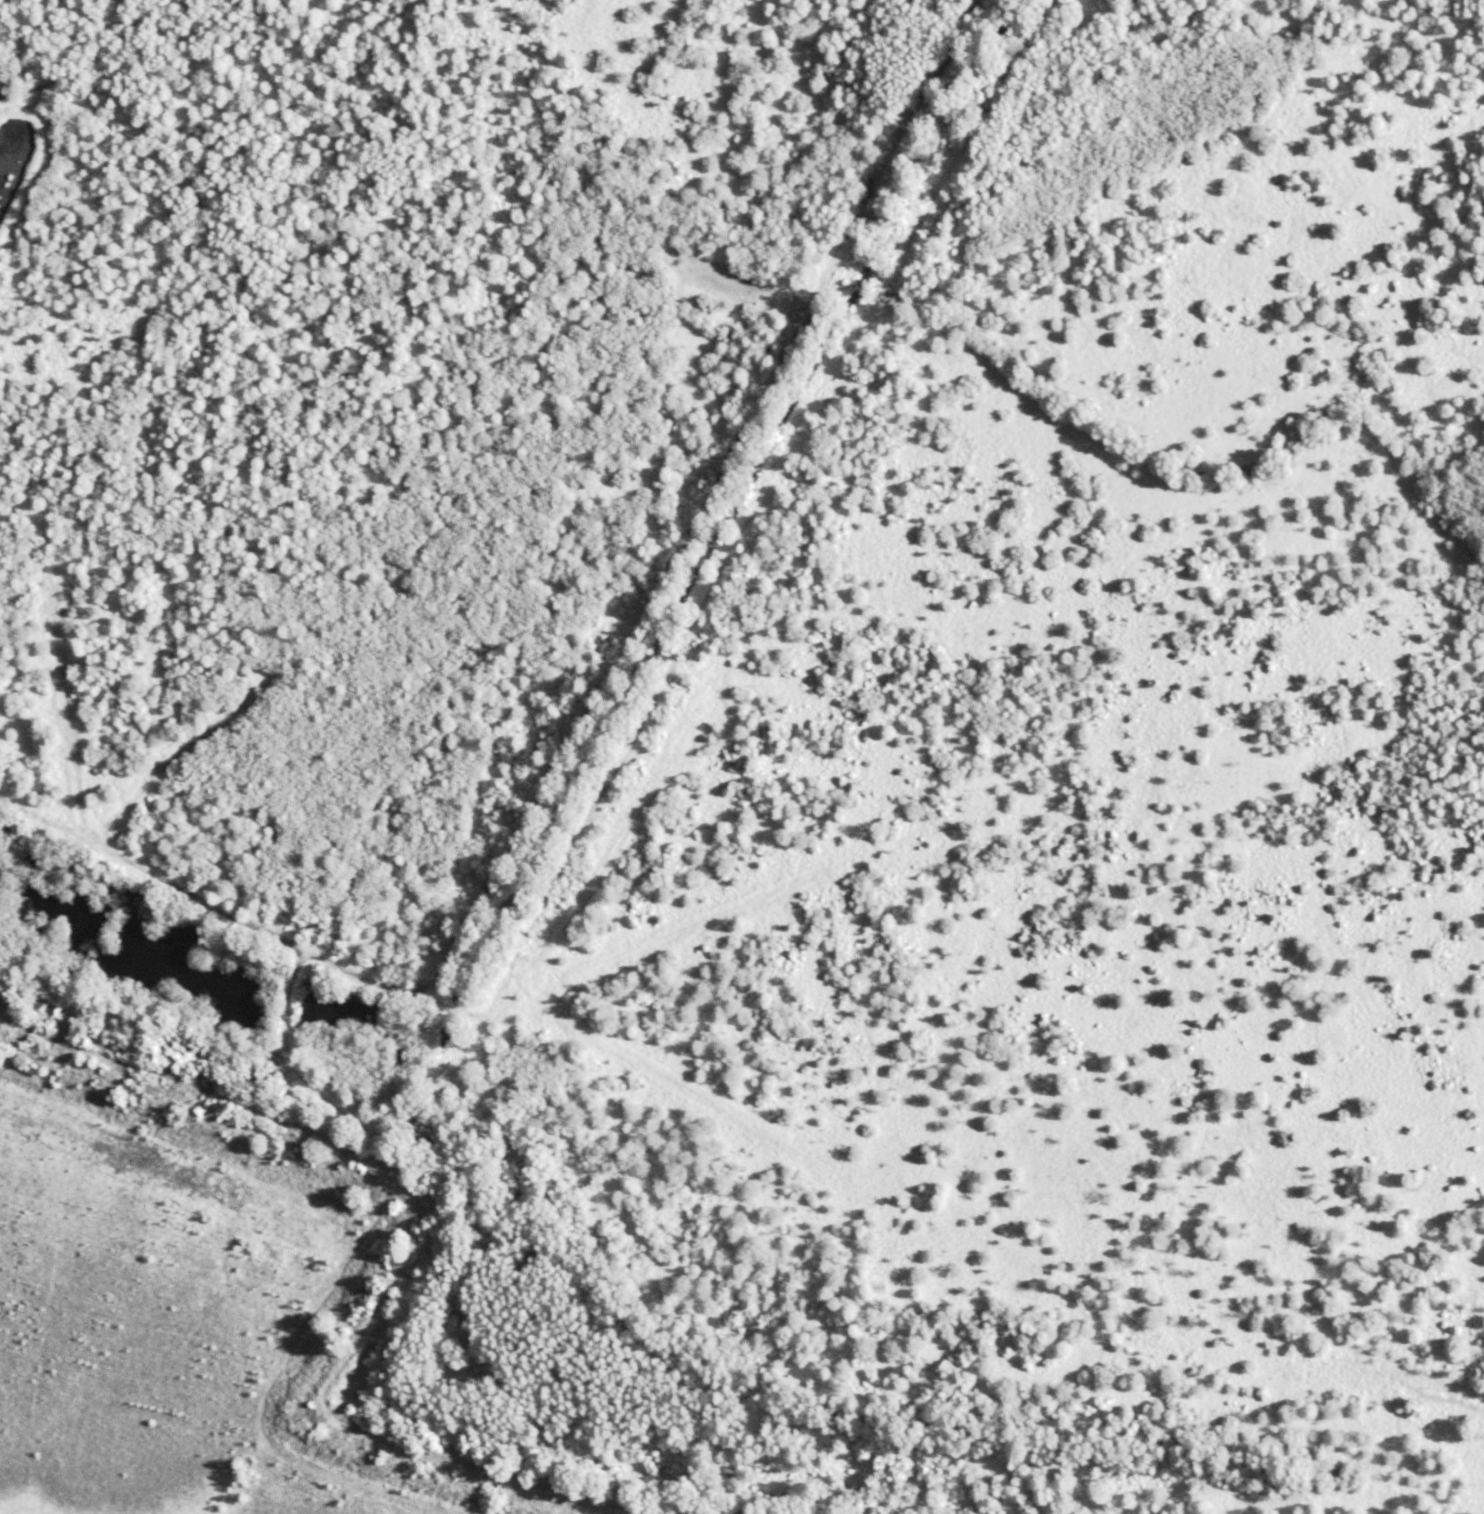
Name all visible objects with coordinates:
road: (648, 701)
road: (397, 1263)

